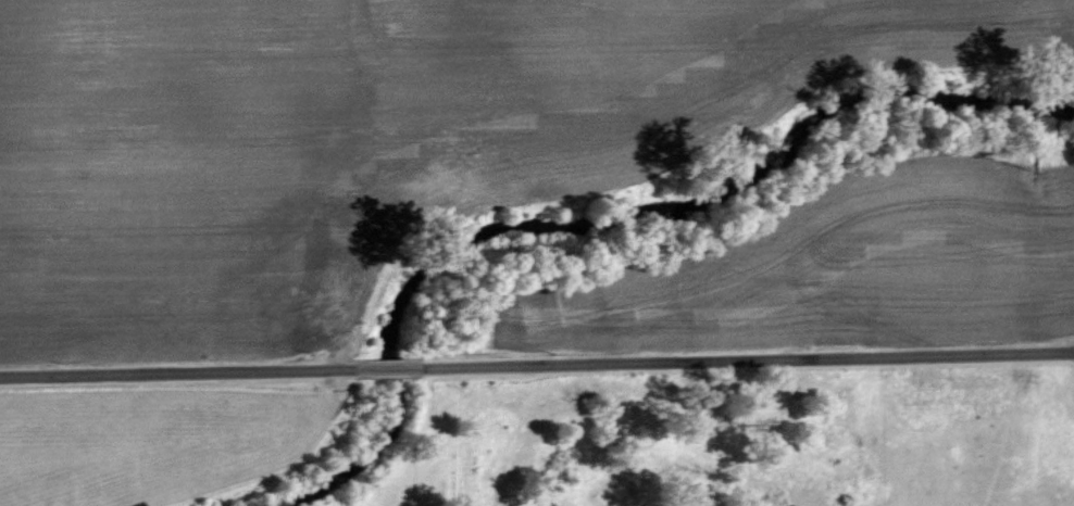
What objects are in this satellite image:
road: (752, 366)
road: (399, 375)
road: (184, 377)

